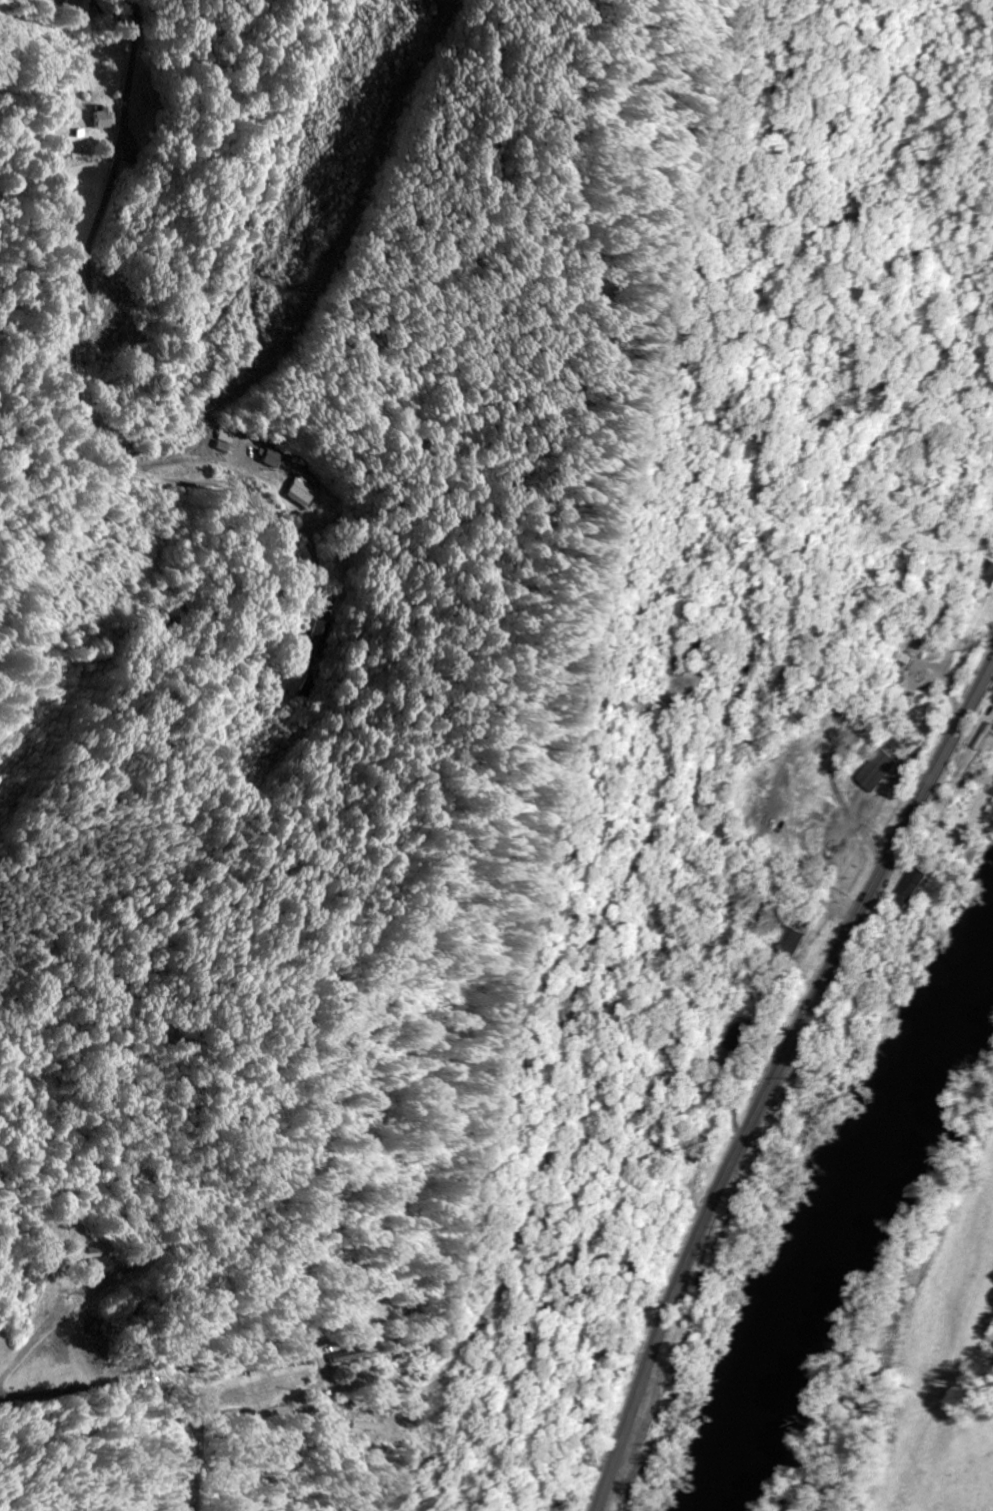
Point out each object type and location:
building: (80, 6)
building: (104, 118)
road: (78, 317)
building: (276, 456)
building: (304, 491)
building: (987, 574)
building: (314, 644)
building: (882, 772)
building: (916, 887)
road: (774, 1076)
river: (843, 1220)
building: (103, 1268)
building: (710, 1282)
building: (337, 1355)
road: (136, 1401)
building: (365, 1426)
road: (197, 1463)

